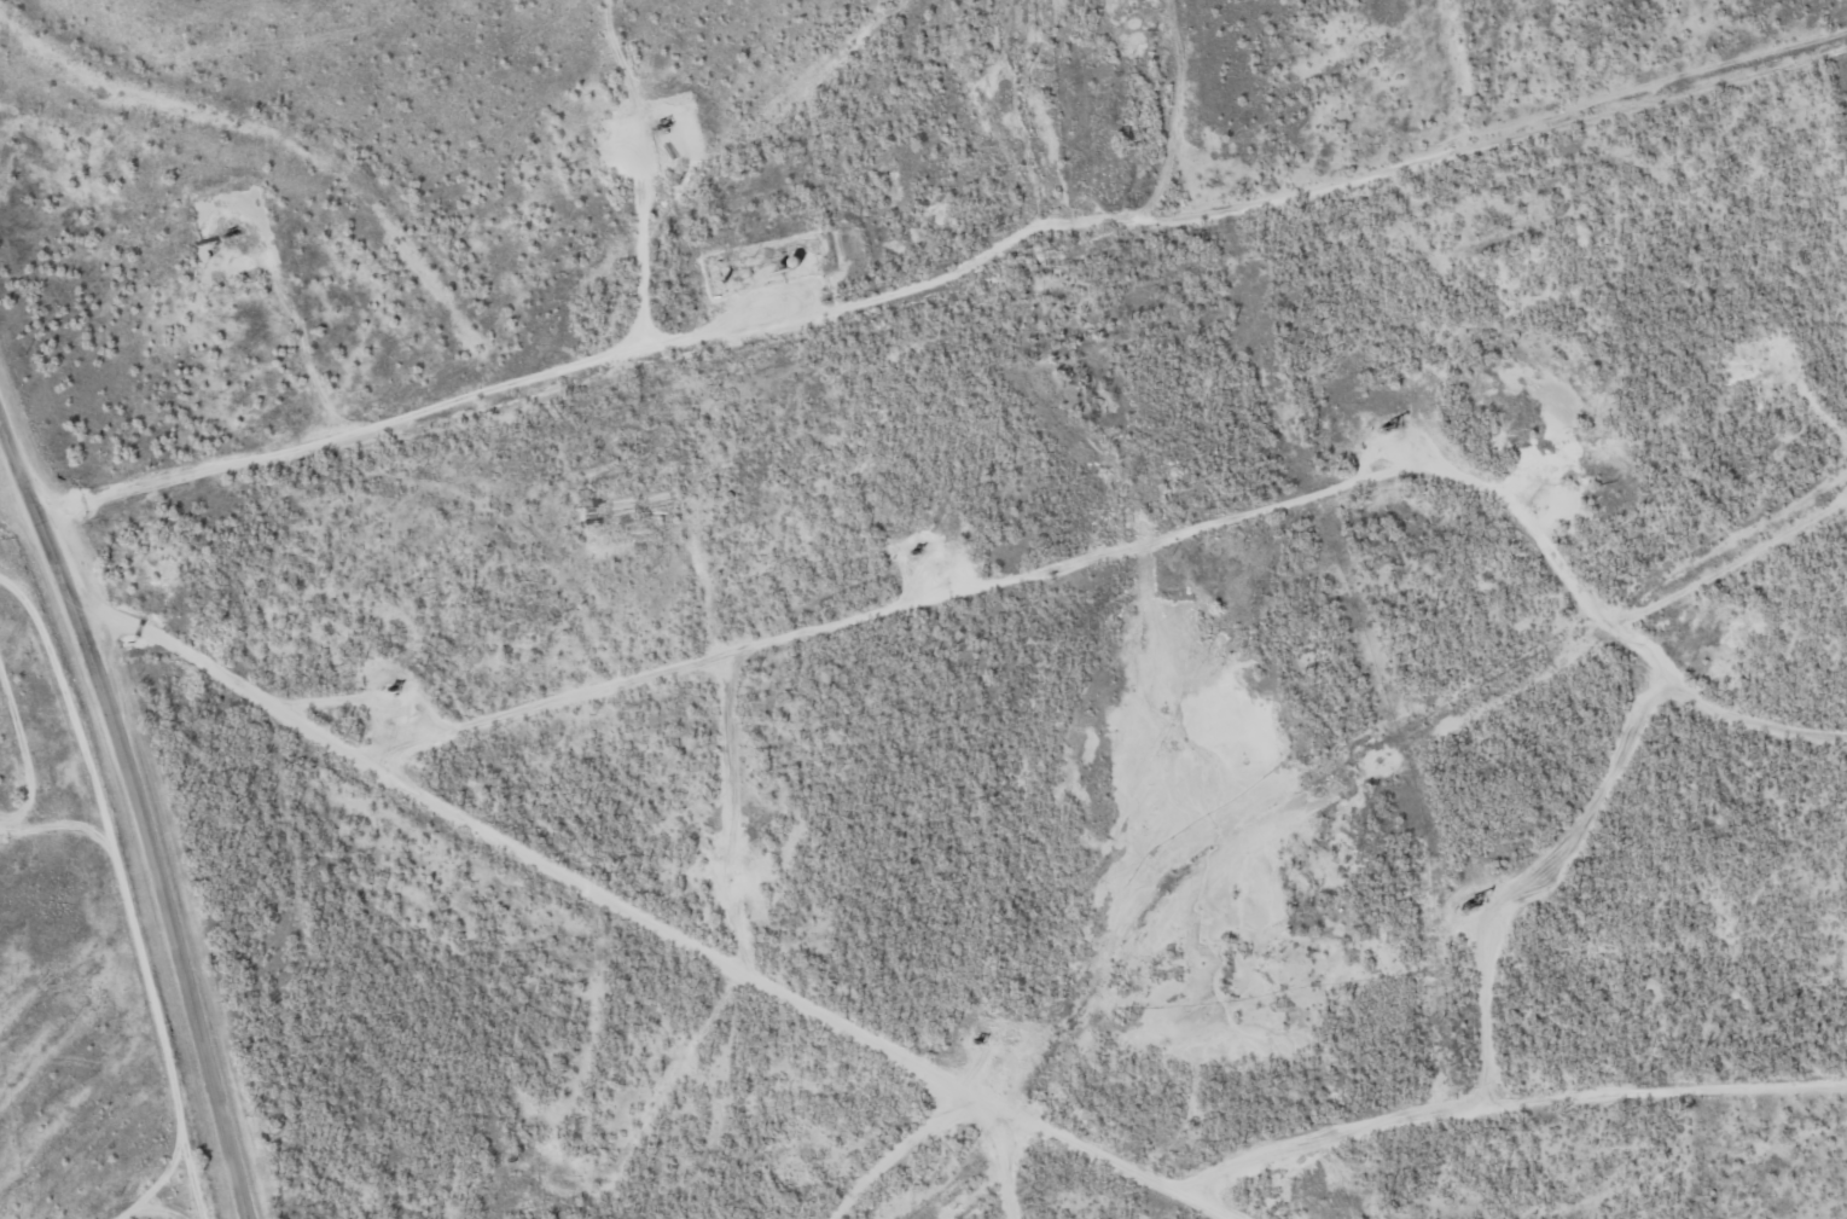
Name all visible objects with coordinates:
road: (137, 823)
road: (579, 882)

